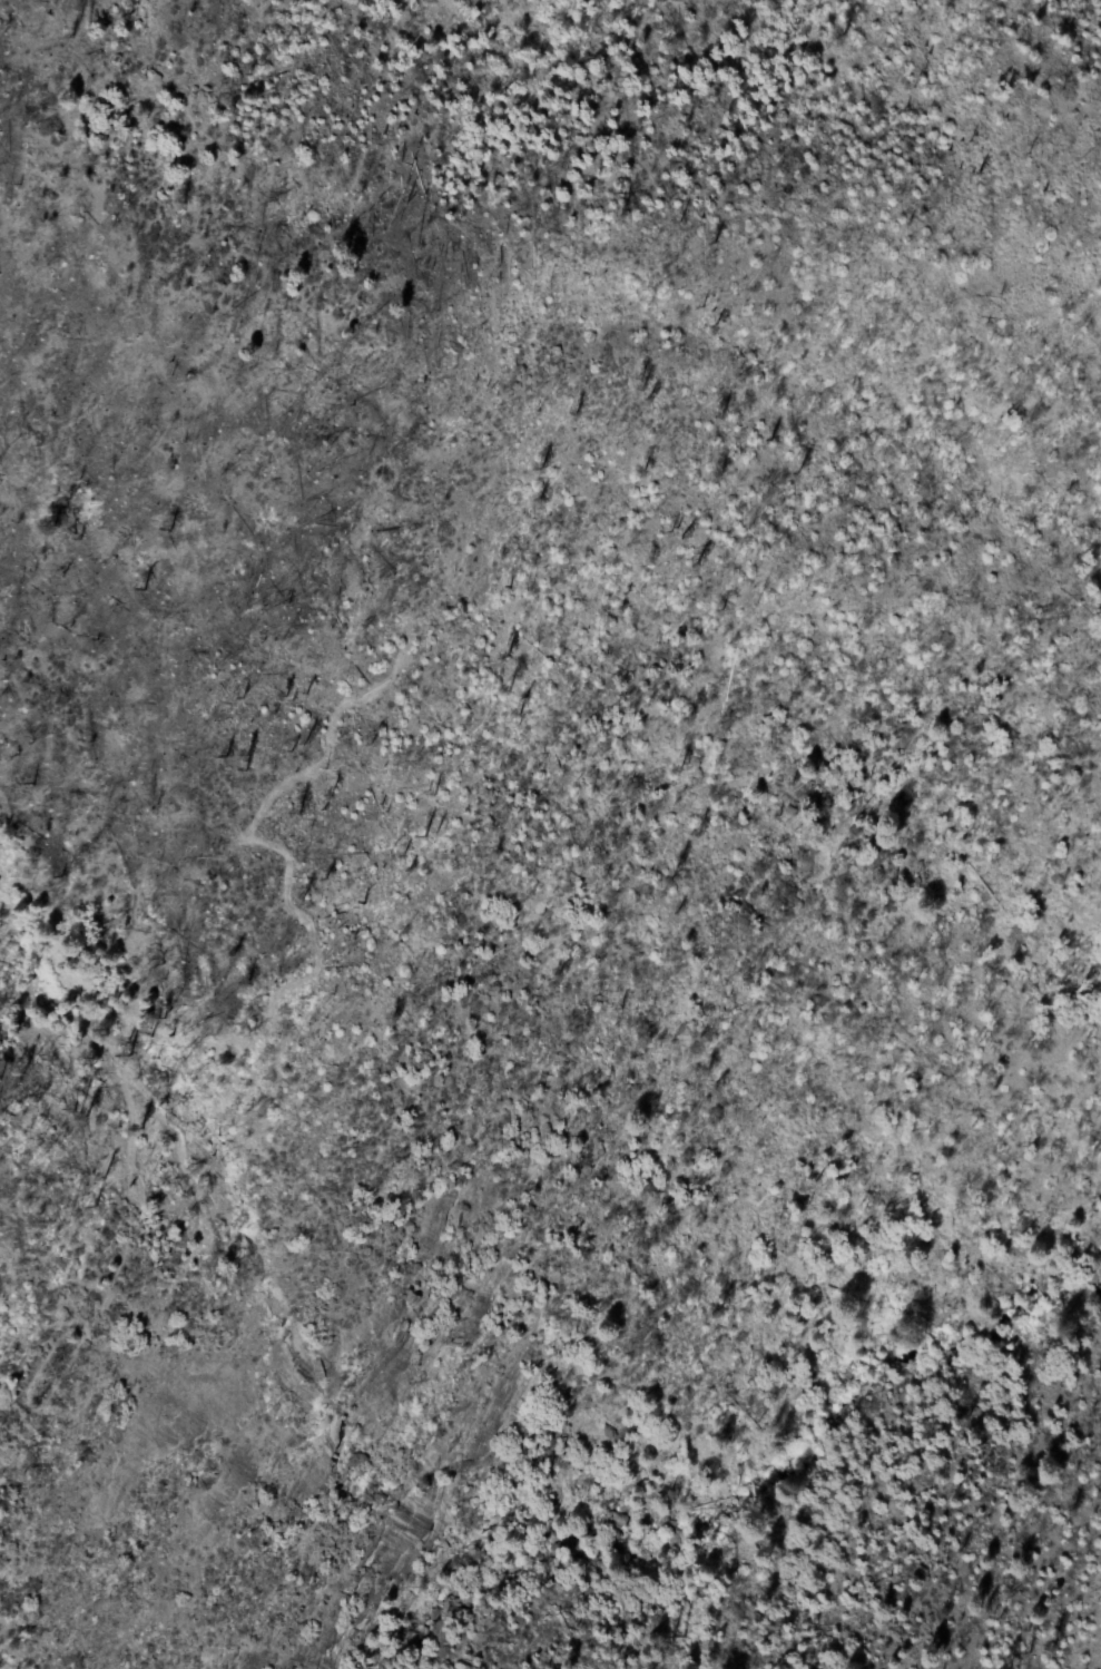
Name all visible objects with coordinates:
road: (105, 1080)

